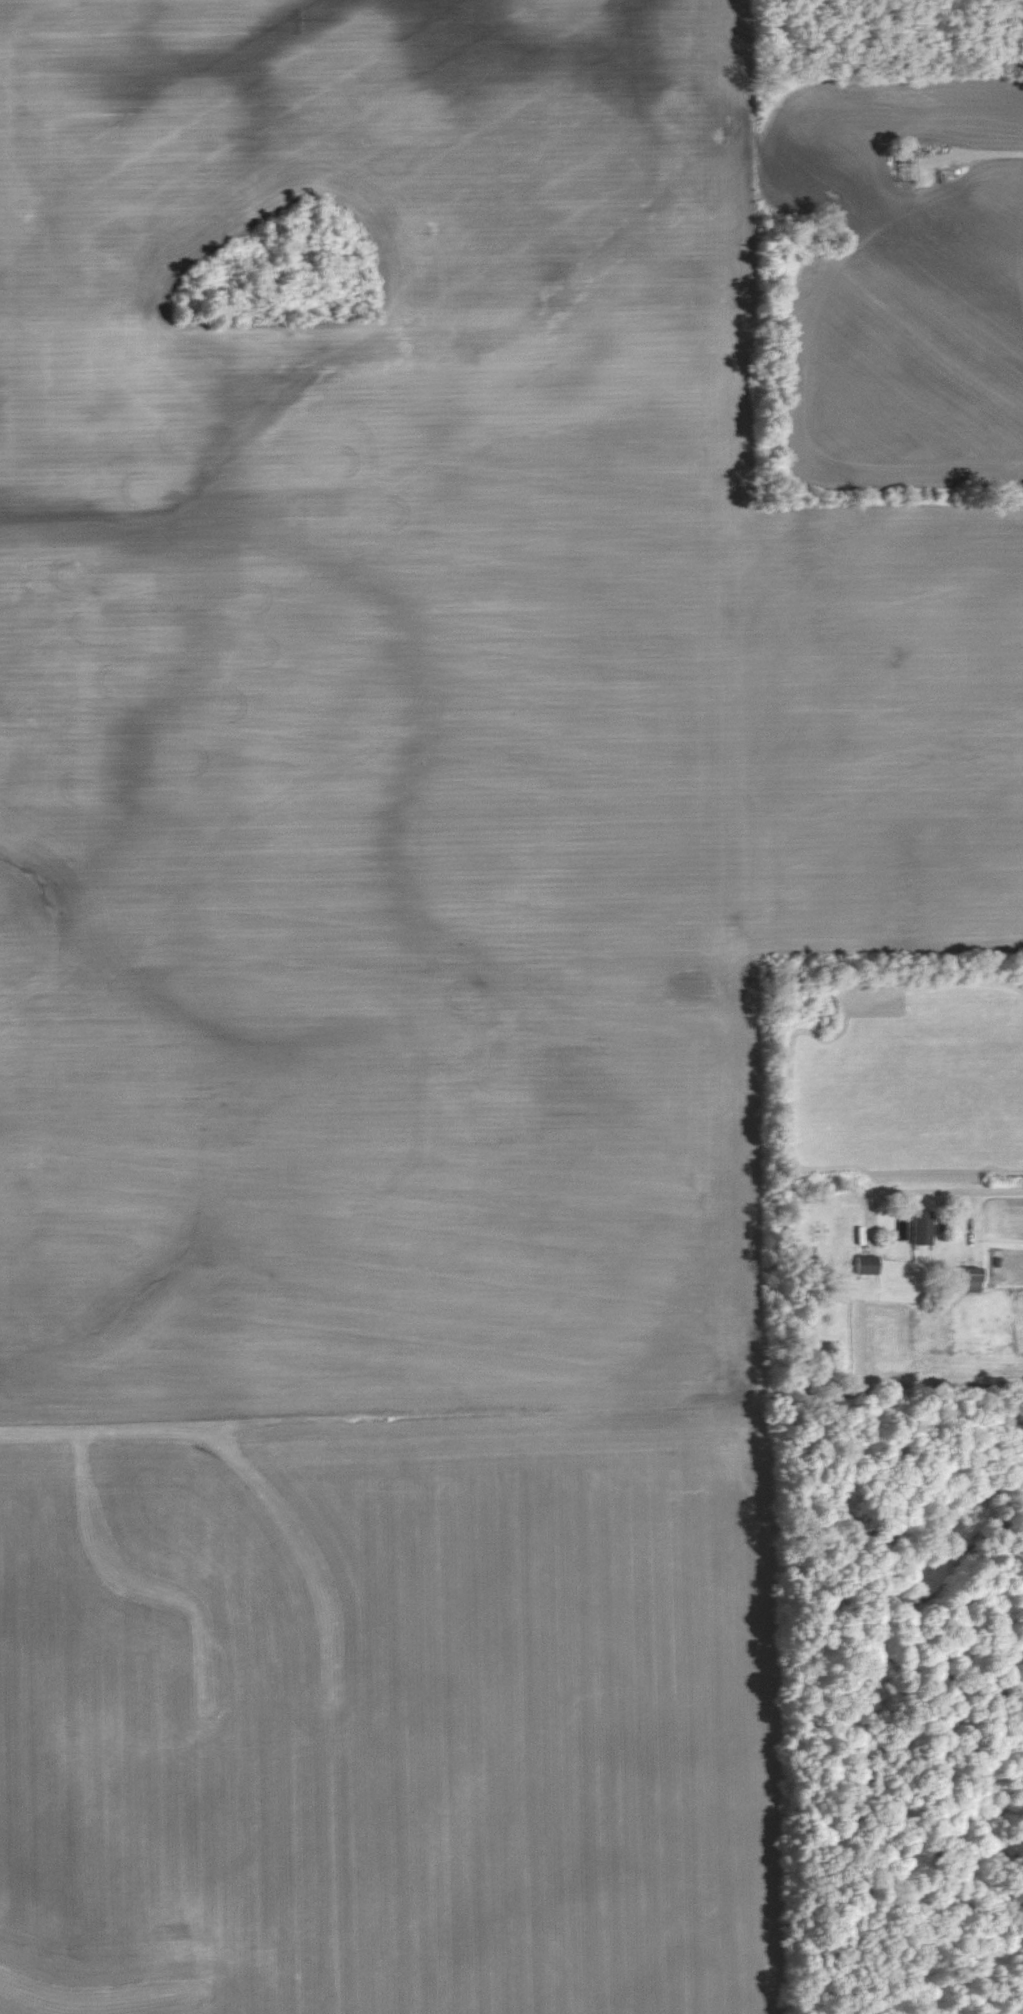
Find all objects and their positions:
road: (923, 1188)
building: (918, 1226)
building: (863, 1264)
building: (965, 1279)
road: (934, 1827)
road: (966, 1971)

